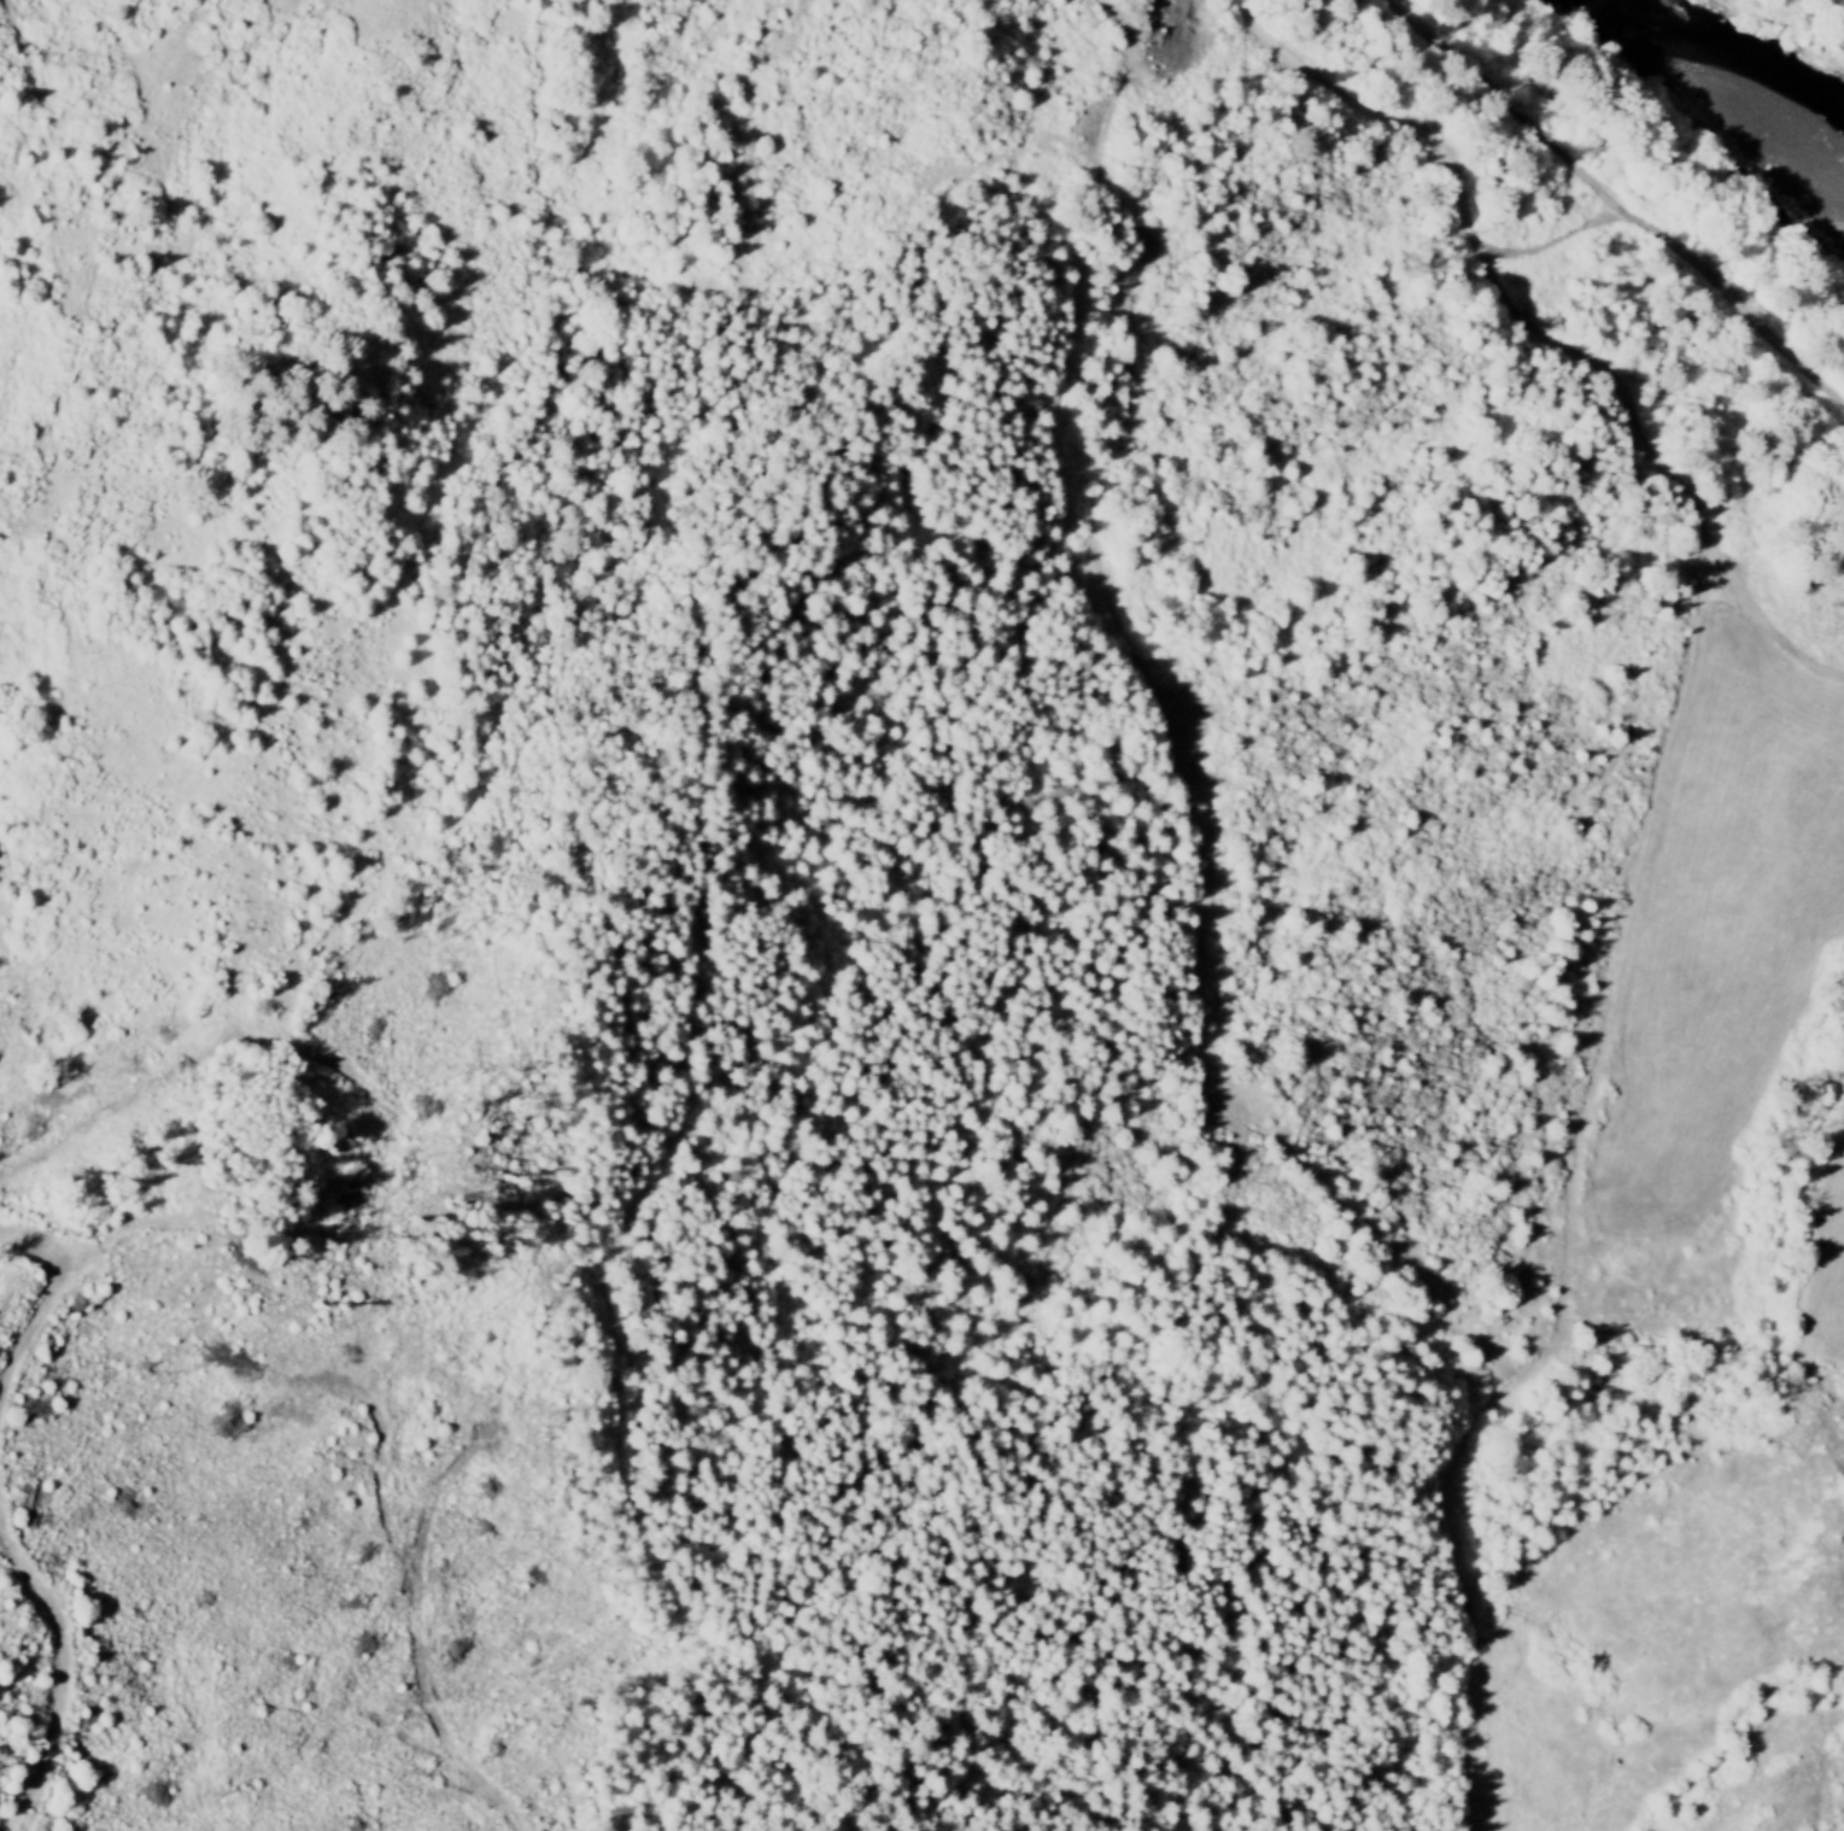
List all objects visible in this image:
river: (1733, 101)
road: (1494, 104)
road: (1439, 148)
road: (1728, 308)
road: (1608, 398)
road: (23, 1562)

